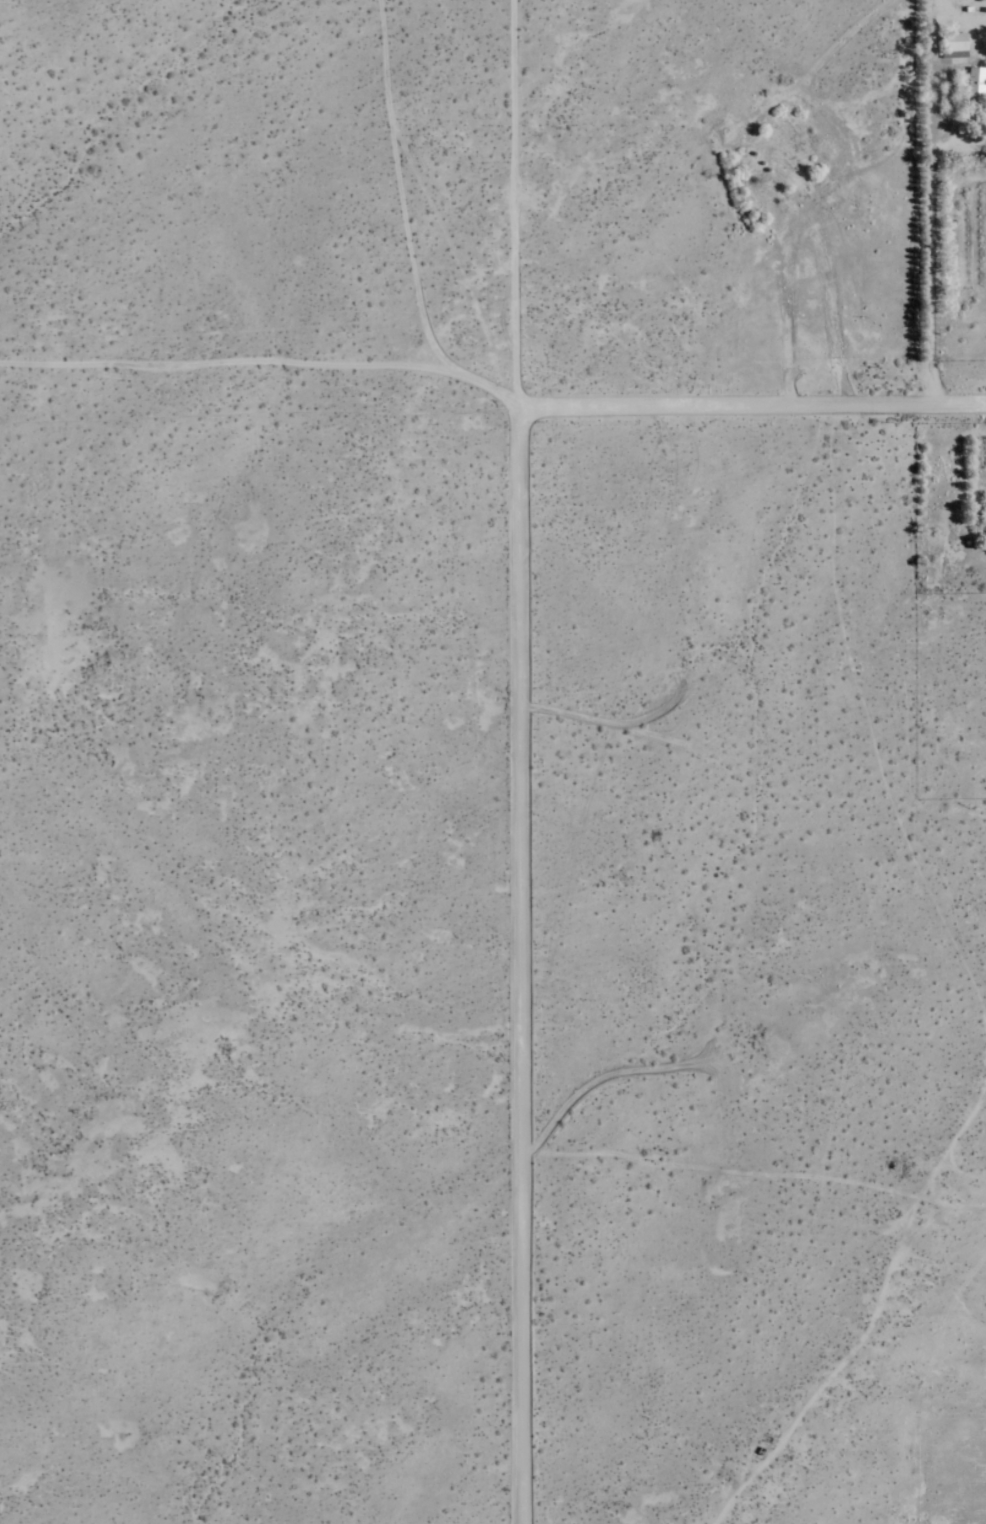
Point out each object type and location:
building: (953, 46)
building: (975, 85)
road: (940, 201)
road: (752, 404)
road: (520, 966)

